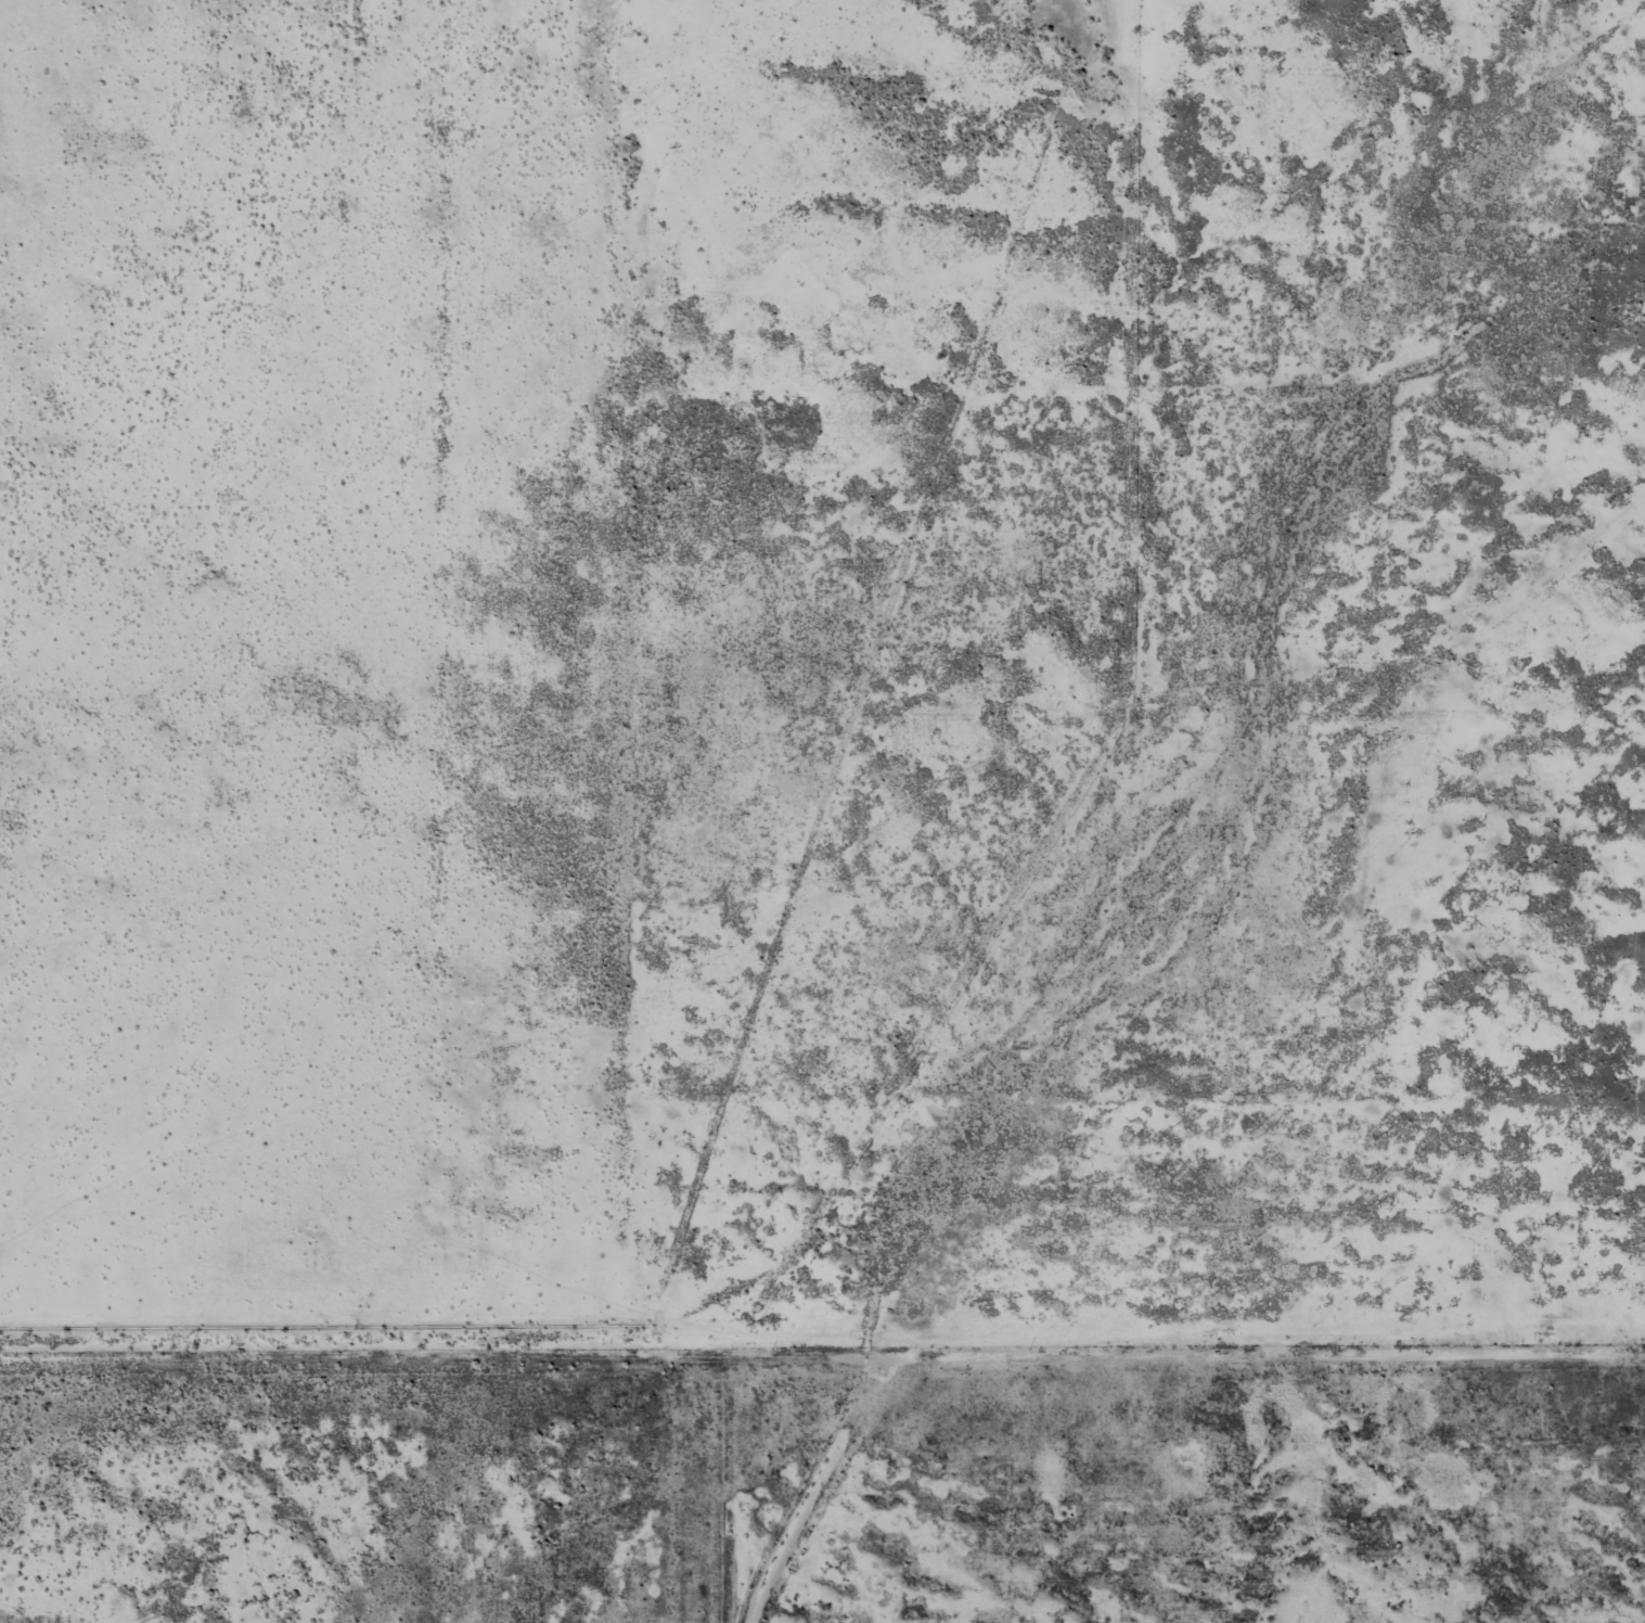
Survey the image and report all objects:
road: (822, 1390)

